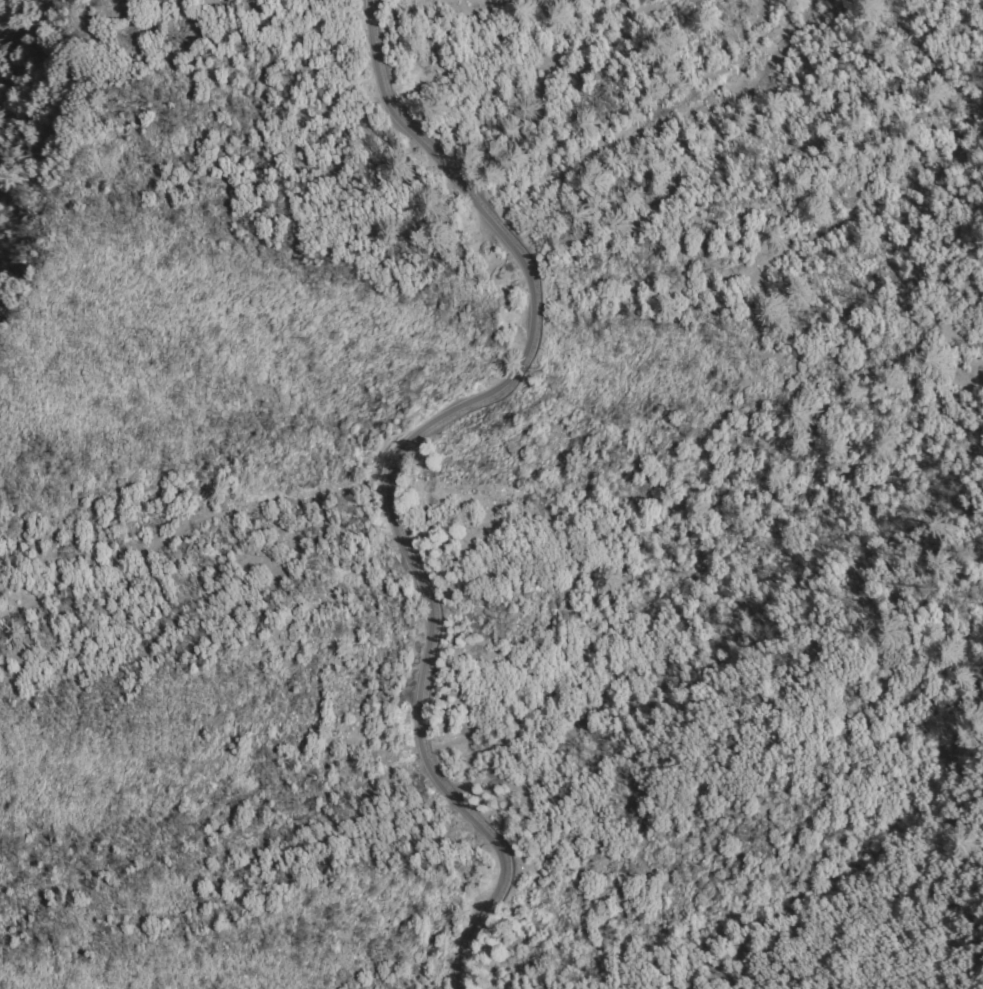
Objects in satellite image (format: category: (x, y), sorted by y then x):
road: (388, 463)

